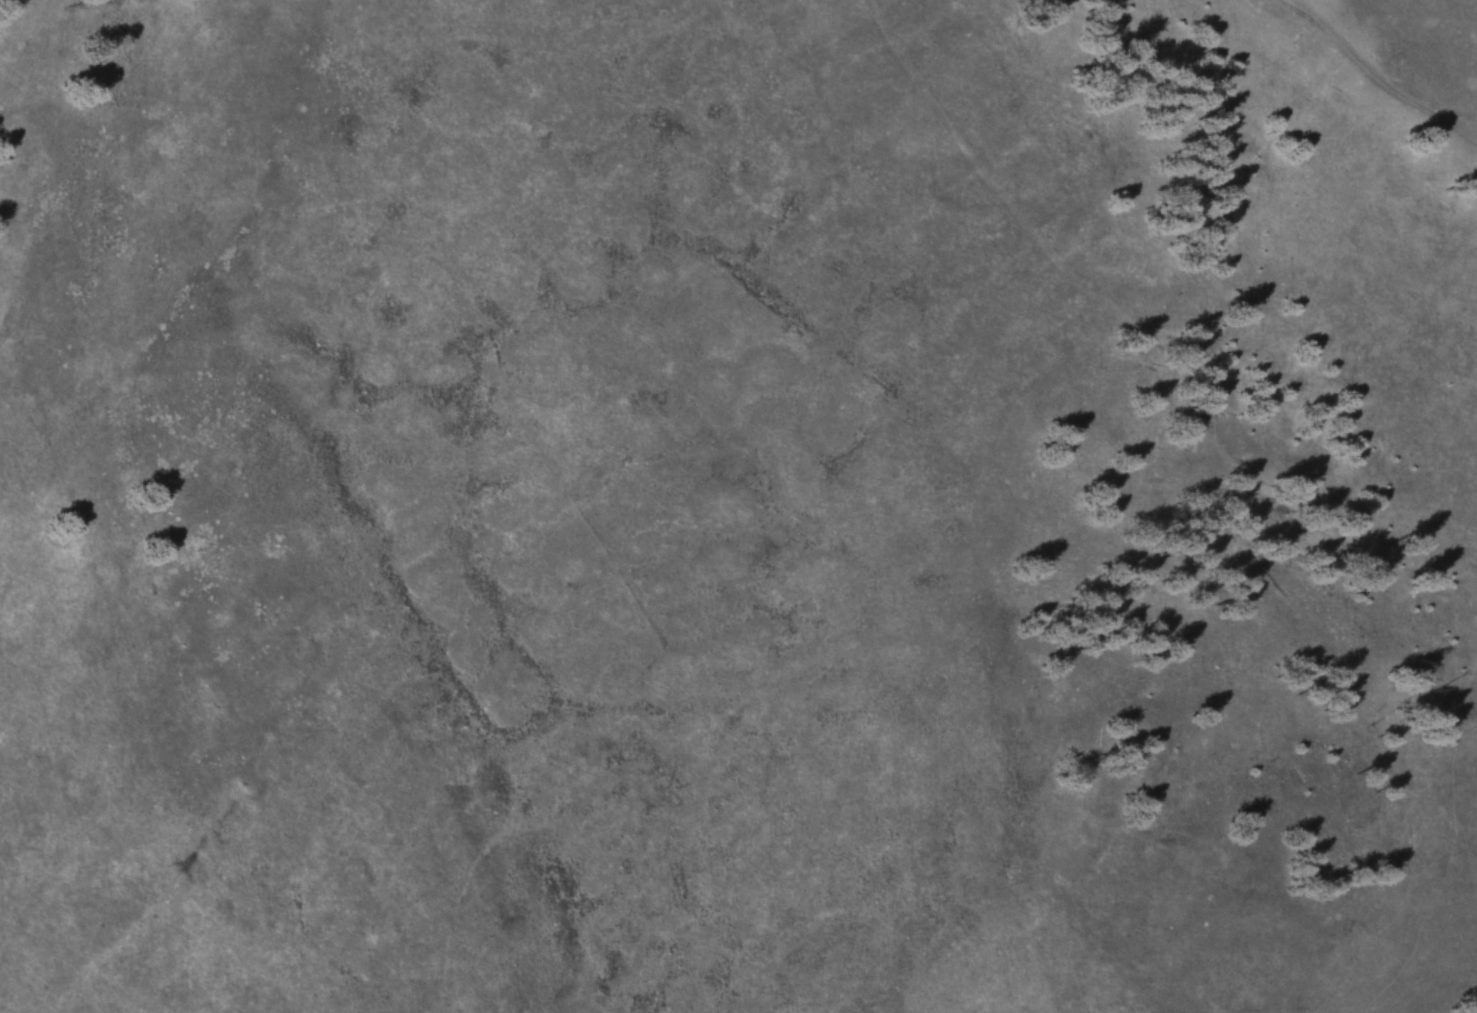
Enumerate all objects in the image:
road: (1331, 83)

